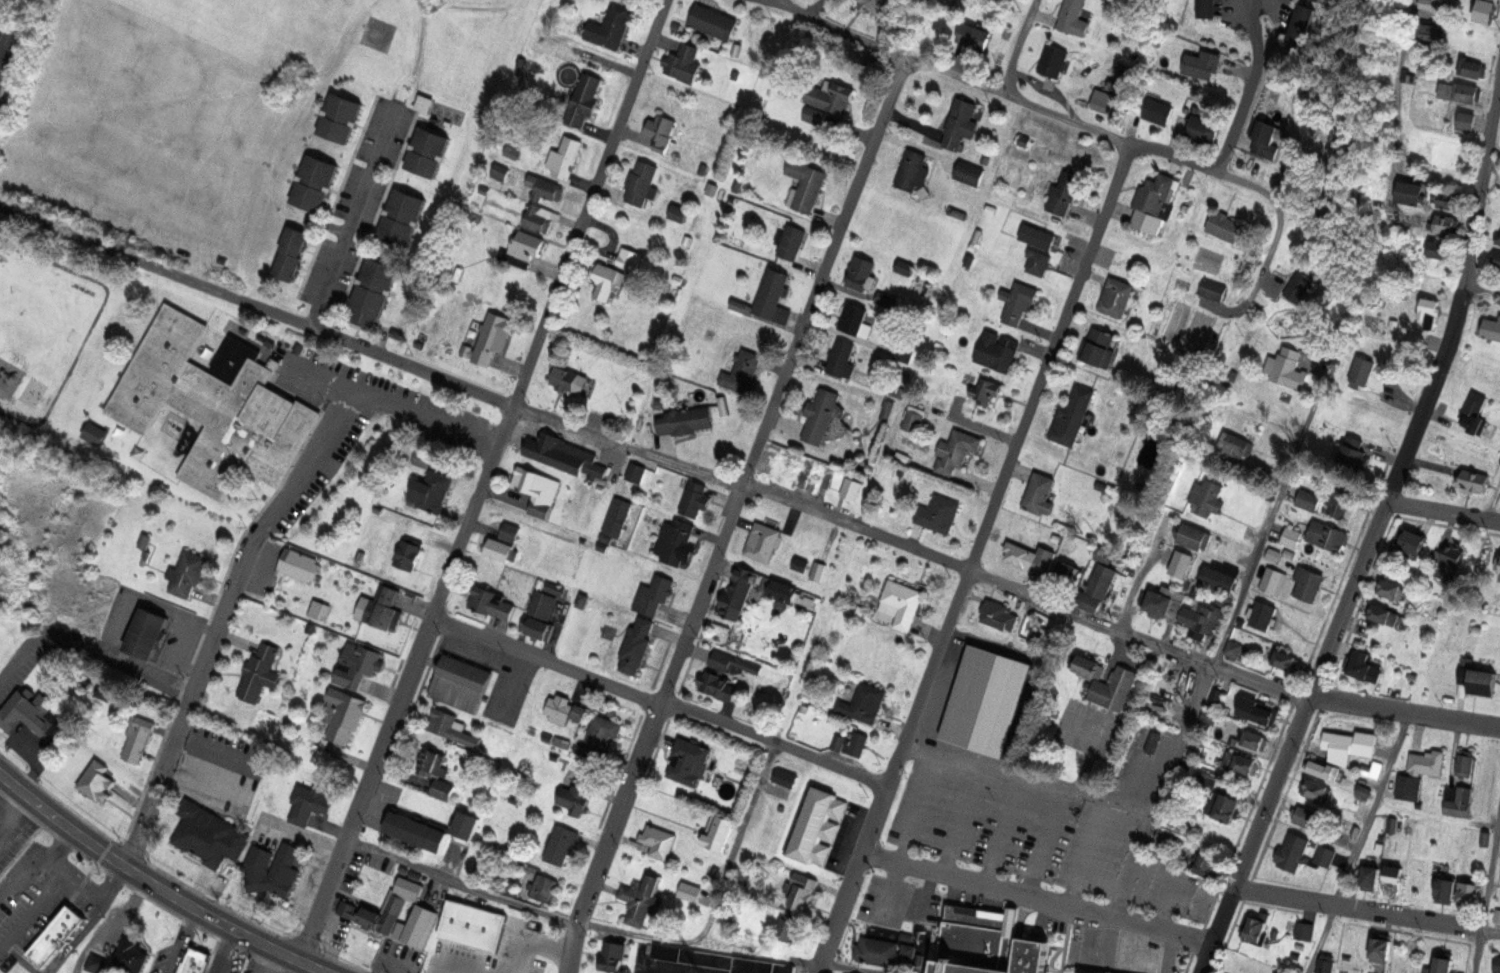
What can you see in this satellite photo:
building: (1321, 0)
building: (1002, 1)
building: (1434, 4)
building: (876, 5)
building: (1207, 8)
building: (1486, 10)
building: (1073, 17)
building: (714, 19)
building: (1304, 23)
building: (610, 24)
building: (1430, 30)
building: (976, 35)
road: (1016, 46)
road: (2, 47)
parking lot: (6, 49)
building: (1052, 60)
building: (684, 63)
building: (1203, 66)
building: (1470, 67)
road: (1393, 77)
building: (1464, 91)
road: (1248, 94)
building: (830, 96)
building: (1102, 98)
building: (583, 99)
road: (1024, 102)
building: (424, 105)
building: (1159, 110)
building: (815, 114)
building: (340, 118)
building: (1464, 120)
building: (960, 122)
building: (1207, 128)
building: (661, 130)
building: (1267, 138)
building: (427, 153)
building: (566, 157)
building: (910, 170)
building: (968, 172)
building: (805, 182)
building: (642, 183)
building: (315, 185)
building: (543, 186)
building: (1410, 191)
building: (1065, 193)
building: (1445, 200)
building: (1155, 201)
building: (569, 209)
building: (677, 212)
road: (352, 216)
building: (536, 217)
building: (402, 219)
building: (1444, 224)
building: (1227, 227)
building: (1037, 235)
building: (1498, 239)
building: (791, 242)
building: (526, 247)
building: (1439, 247)
building: (291, 254)
building: (629, 258)
building: (1496, 259)
building: (801, 261)
building: (1037, 262)
building: (905, 267)
building: (861, 272)
building: (606, 280)
road: (1483, 287)
building: (1300, 288)
building: (1213, 289)
building: (772, 295)
building: (373, 296)
building: (1116, 296)
building: (885, 298)
building: (1017, 300)
road: (256, 306)
building: (1429, 311)
building: (854, 318)
building: (1491, 328)
building: (493, 335)
building: (1103, 347)
building: (996, 350)
building: (1315, 351)
building: (841, 357)
building: (1361, 366)
building: (1287, 369)
building: (741, 372)
building: (569, 378)
building: (984, 389)
building: (211, 401)
road: (389, 401)
building: (1472, 407)
building: (885, 411)
building: (818, 415)
building: (1073, 416)
building: (912, 418)
road: (1203, 419)
building: (683, 420)
building: (97, 435)
road: (628, 445)
building: (1236, 446)
building: (956, 450)
building: (558, 453)
building: (1353, 457)
building: (423, 458)
building: (635, 471)
building: (1471, 480)
road: (484, 482)
building: (849, 487)
building: (536, 488)
building: (431, 491)
building: (1038, 492)
building: (1206, 497)
building: (1309, 499)
road: (1492, 500)
building: (1341, 501)
building: (693, 502)
road: (1443, 512)
building: (938, 513)
road: (731, 514)
building: (617, 516)
road: (1266, 523)
road: (1377, 526)
building: (509, 531)
building: (1327, 535)
building: (1192, 536)
building: (1292, 536)
building: (673, 540)
building: (762, 540)
building: (1414, 540)
building: (497, 549)
building: (409, 555)
building: (1021, 555)
building: (1273, 555)
road: (972, 558)
building: (1448, 560)
building: (1181, 562)
building: (302, 564)
building: (799, 564)
road: (951, 564)
building: (340, 568)
building: (1067, 573)
building: (187, 574)
building: (1218, 577)
building: (1102, 578)
building: (1273, 580)
building: (1309, 582)
building: (555, 587)
building: (1392, 588)
building: (783, 590)
building: (652, 594)
building: (738, 594)
building: (581, 600)
building: (491, 602)
building: (903, 602)
building: (1159, 602)
building: (385, 606)
building: (319, 610)
building: (1386, 613)
building: (1263, 614)
building: (539, 615)
building: (996, 615)
road: (221, 618)
building: (1199, 620)
building: (148, 633)
building: (637, 645)
building: (1234, 649)
road: (90, 655)
building: (720, 659)
building: (1289, 659)
road: (544, 662)
building: (356, 664)
building: (1360, 664)
building: (746, 665)
building: (1087, 666)
building: (262, 673)
parking lot: (495, 678)
building: (1478, 680)
building: (461, 683)
road: (509, 684)
building: (714, 685)
building: (1114, 688)
building: (1215, 699)
road: (1326, 700)
building: (864, 703)
building: (559, 706)
building: (1261, 711)
building: (26, 712)
building: (345, 713)
building: (452, 729)
building: (600, 730)
building: (137, 737)
building: (1251, 737)
building: (1152, 740)
road: (773, 742)
building: (858, 743)
building: (1350, 745)
building: (586, 748)
building: (554, 756)
road: (1086, 761)
building: (689, 762)
building: (1242, 762)
building: (1464, 762)
building: (1487, 762)
building: (1428, 763)
road: (949, 766)
building: (1322, 769)
parking lot: (220, 770)
building: (435, 772)
building: (785, 777)
building: (98, 783)
building: (1409, 788)
building: (1315, 789)
road: (1157, 790)
building: (577, 793)
road: (1113, 797)
building: (1458, 801)
building: (306, 802)
building: (1227, 807)
building: (1308, 818)
road: (957, 823)
building: (814, 824)
parking lot: (1038, 829)
building: (719, 833)
building: (208, 834)
road: (1003, 834)
building: (659, 840)
road: (1357, 842)
building: (559, 844)
road: (1041, 844)
building: (1302, 853)
road: (1084, 859)
building: (257, 861)
building: (1208, 865)
building: (283, 869)
building: (415, 874)
building: (1371, 878)
road: (142, 879)
building: (1393, 880)
building: (544, 887)
road: (1486, 889)
parking lot: (40, 890)
building: (689, 891)
building: (1446, 891)
building: (1467, 894)
road: (714, 897)
building: (801, 898)
road: (1036, 898)
parking lot: (885, 899)
building: (640, 900)
road: (1165, 903)
road: (1366, 910)
building: (368, 916)
building: (1497, 916)
building: (474, 928)
building: (1254, 928)
building: (791, 929)
building: (1304, 930)
building: (56, 938)
road: (1065, 940)
building: (983, 941)
road: (546, 945)
building: (1381, 949)
parking lot: (526, 950)
building: (881, 951)
road: (1170, 954)
building: (127, 955)
road: (518, 956)
building: (612, 956)
building: (721, 960)
building: (194, 964)
building: (1497, 964)
building: (95, 965)
building: (1441, 965)
building: (1326, 966)
road: (311, 967)
road: (437, 969)
road: (453, 969)
parking lot: (650, 970)
road: (650, 970)
building: (1083, 972)

